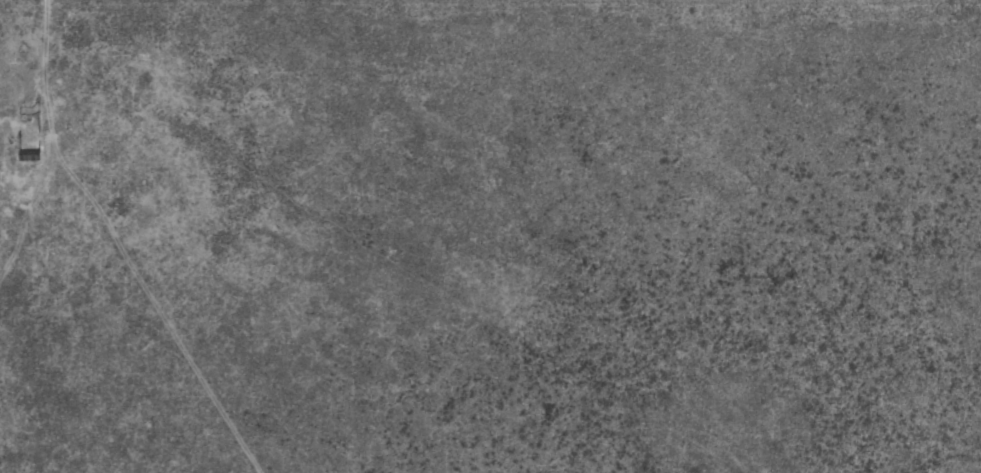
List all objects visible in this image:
building: (27, 155)

